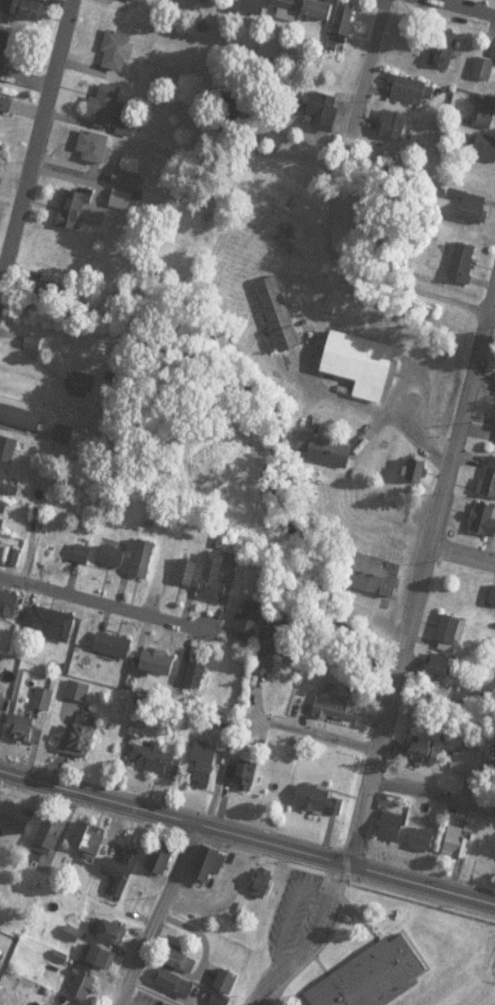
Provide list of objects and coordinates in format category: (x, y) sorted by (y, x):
building: (137, 2)
road: (462, 7)
building: (255, 10)
building: (19, 12)
building: (287, 12)
building: (320, 16)
building: (345, 26)
building: (3, 55)
building: (447, 55)
building: (118, 56)
road: (365, 65)
building: (484, 74)
building: (410, 97)
building: (111, 113)
building: (5, 115)
building: (484, 117)
building: (327, 118)
building: (396, 131)
road: (37, 147)
building: (97, 154)
building: (485, 154)
building: (1, 157)
building: (127, 186)
building: (75, 214)
building: (471, 214)
building: (464, 268)
road: (491, 310)
building: (275, 313)
building: (362, 359)
road: (316, 389)
building: (80, 390)
building: (22, 424)
building: (62, 434)
building: (65, 441)
building: (494, 442)
building: (319, 443)
building: (11, 457)
building: (414, 466)
building: (490, 486)
building: (6, 488)
building: (3, 520)
building: (485, 526)
road: (461, 547)
building: (113, 562)
building: (144, 565)
road: (420, 568)
building: (189, 579)
building: (379, 583)
building: (218, 584)
building: (491, 595)
road: (107, 602)
building: (492, 602)
building: (9, 610)
building: (50, 630)
building: (249, 631)
building: (452, 637)
building: (114, 652)
building: (274, 657)
building: (158, 667)
building: (440, 675)
building: (194, 679)
building: (44, 705)
building: (336, 711)
road: (319, 734)
building: (26, 737)
building: (84, 744)
building: (425, 757)
building: (158, 767)
building: (469, 769)
building: (205, 772)
building: (243, 782)
road: (94, 796)
road: (431, 797)
building: (320, 807)
building: (19, 830)
building: (393, 833)
building: (51, 839)
building: (90, 843)
building: (424, 847)
building: (458, 850)
building: (159, 853)
road: (342, 858)
building: (485, 858)
building: (162, 859)
building: (209, 867)
building: (123, 878)
building: (262, 889)
road: (152, 913)
building: (114, 937)
road: (310, 940)
building: (101, 960)
building: (1, 966)
building: (183, 966)
building: (376, 979)
building: (177, 987)
building: (231, 987)
building: (84, 988)
road: (123, 1002)
building: (219, 1002)
building: (54, 1004)
building: (264, 1004)

